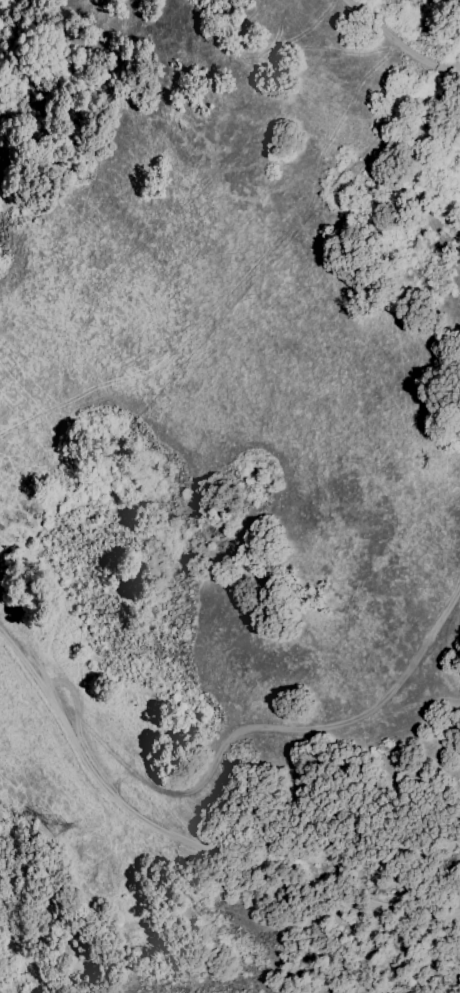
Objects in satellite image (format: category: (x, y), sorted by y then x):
power tower: (46, 831)

